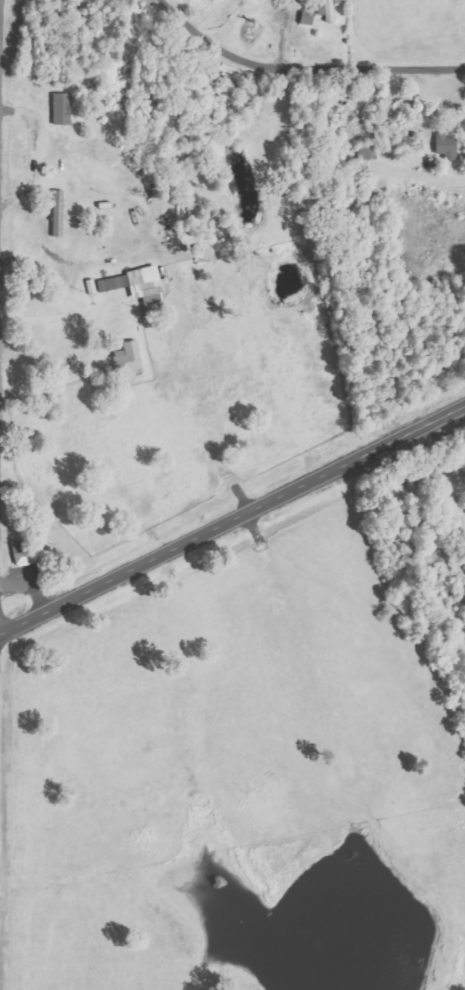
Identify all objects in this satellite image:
building: (330, 9)
building: (307, 19)
road: (304, 68)
building: (61, 109)
building: (446, 147)
building: (59, 214)
building: (137, 287)
building: (129, 359)
road: (232, 521)
building: (25, 553)

